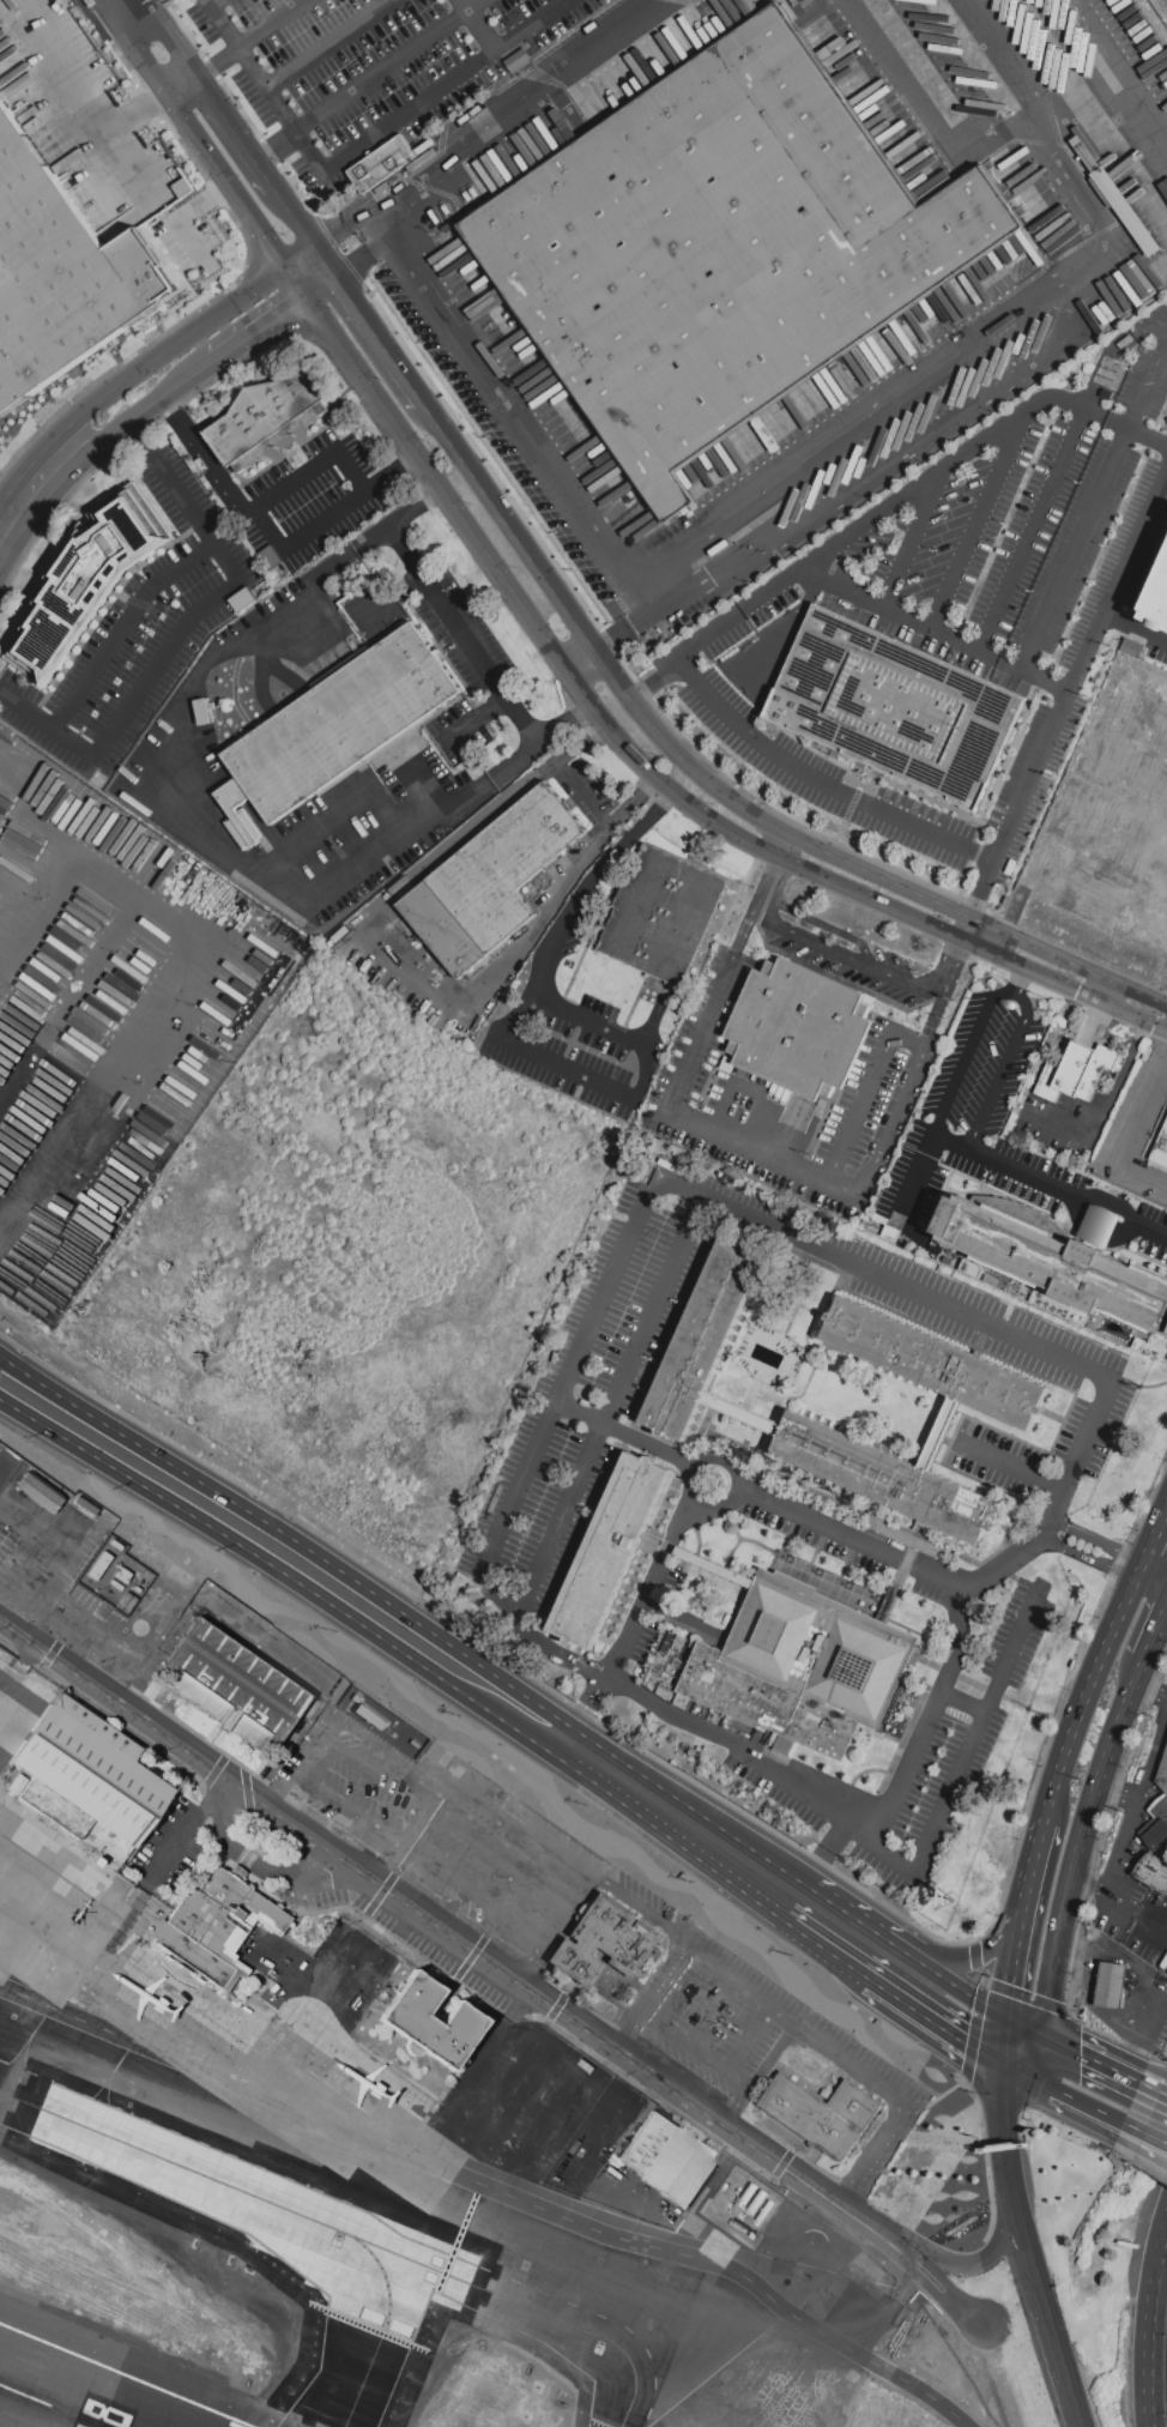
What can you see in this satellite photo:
road: (113, 4)
road: (222, 22)
road: (273, 24)
road: (480, 25)
road: (173, 38)
road: (331, 43)
road: (219, 62)
parking lot: (371, 65)
road: (393, 66)
road: (1120, 67)
road: (270, 89)
road: (74, 98)
road: (428, 101)
road: (150, 104)
road: (528, 105)
road: (936, 123)
parking lot: (95, 134)
road: (194, 135)
road: (242, 144)
road: (276, 146)
building: (382, 164)
road: (188, 212)
road: (302, 230)
road: (344, 231)
building: (718, 250)
road: (367, 264)
road: (327, 266)
building: (64, 273)
road: (324, 292)
road: (996, 332)
road: (265, 334)
road: (381, 343)
road: (177, 348)
road: (208, 417)
road: (141, 421)
building: (267, 428)
road: (138, 436)
road: (302, 440)
road: (278, 455)
road: (545, 455)
road: (314, 469)
road: (388, 473)
road: (929, 479)
road: (25, 495)
parking lot: (312, 500)
road: (1094, 503)
road: (980, 515)
road: (1030, 527)
road: (914, 538)
building: (84, 582)
road: (389, 597)
parking lot: (960, 597)
building: (1157, 599)
road: (911, 622)
road: (122, 627)
road: (787, 628)
parking lot: (138, 630)
road: (459, 632)
road: (1133, 633)
parking lot: (464, 638)
road: (176, 639)
road: (653, 677)
road: (1045, 683)
building: (896, 708)
road: (477, 722)
building: (340, 729)
road: (1132, 743)
road: (1087, 748)
road: (637, 759)
road: (34, 779)
road: (1123, 786)
road: (582, 792)
road: (722, 793)
parking lot: (1109, 817)
road: (205, 828)
road: (54, 837)
road: (1113, 838)
road: (1004, 841)
road: (790, 851)
building: (492, 880)
road: (984, 889)
road: (1100, 896)
road: (73, 898)
road: (1018, 900)
building: (664, 916)
road: (165, 926)
road: (827, 928)
road: (966, 929)
parking lot: (574, 932)
road: (999, 944)
parking lot: (126, 948)
road: (92, 952)
road: (407, 956)
road: (851, 959)
road: (546, 966)
parking lot: (858, 968)
road: (1022, 977)
road: (838, 979)
road: (1015, 988)
parking lot: (595, 1010)
road: (168, 1014)
building: (805, 1030)
road: (965, 1053)
road: (548, 1062)
parking lot: (569, 1064)
road: (69, 1069)
road: (1003, 1069)
road: (648, 1073)
building: (1077, 1073)
parking lot: (976, 1080)
road: (749, 1089)
road: (866, 1095)
road: (141, 1128)
road: (1129, 1129)
building: (1157, 1140)
road: (77, 1145)
road: (744, 1147)
parking lot: (62, 1172)
road: (912, 1173)
road: (1048, 1187)
building: (1058, 1264)
road: (621, 1268)
road: (913, 1288)
road: (654, 1309)
building: (703, 1336)
building: (935, 1365)
parking lot: (592, 1376)
road: (742, 1414)
road: (939, 1433)
road: (1086, 1437)
road: (653, 1441)
road: (1008, 1465)
road: (0, 1467)
road: (688, 1477)
building: (885, 1478)
building: (40, 1492)
road: (516, 1496)
road: (1, 1501)
building: (85, 1504)
road: (566, 1515)
road: (1163, 1526)
road: (68, 1534)
parking lot: (823, 1534)
road: (59, 1539)
road: (852, 1539)
road: (1099, 1541)
building: (115, 1544)
building: (609, 1551)
road: (1026, 1552)
road: (1151, 1554)
road: (1089, 1559)
building: (99, 1565)
building: (122, 1574)
road: (289, 1577)
road: (1154, 1581)
building: (116, 1583)
road: (648, 1584)
road: (24, 1593)
building: (122, 1600)
building: (128, 1605)
road: (404, 1613)
road: (40, 1624)
road: (960, 1641)
road: (551, 1648)
road: (120, 1658)
road: (1150, 1659)
building: (804, 1666)
building: (666, 1679)
building: (232, 1685)
road: (1090, 1697)
road: (589, 1698)
road: (962, 1699)
parking lot: (961, 1713)
road: (328, 1727)
road: (728, 1746)
road: (966, 1750)
building: (1162, 1773)
road: (373, 1774)
road: (902, 1777)
road: (1145, 1777)
building: (87, 1779)
road: (282, 1788)
road: (347, 1807)
building: (1160, 1807)
road: (185, 1823)
parking lot: (437, 1829)
building: (1155, 1833)
road: (428, 1841)
road: (678, 1842)
road: (536, 1843)
road: (1119, 1845)
road: (824, 1854)
road: (1039, 1859)
road: (389, 1861)
road: (1080, 1864)
road: (265, 1867)
building: (1154, 1872)
road: (1088, 1885)
road: (1132, 1909)
road: (503, 1913)
road: (853, 1918)
building: (213, 1924)
building: (610, 1943)
road: (828, 1949)
road: (695, 1950)
road: (980, 1954)
road: (1017, 1956)
road: (1080, 1964)
road: (500, 1967)
road: (1113, 1970)
road: (1078, 1975)
road: (944, 1979)
road: (1112, 1980)
road: (1144, 1980)
road: (1137, 1981)
building: (1111, 1985)
road: (1137, 1986)
road: (713, 2012)
road: (996, 2012)
traffic signals: (1008, 2018)
building: (431, 2022)
road: (936, 2023)
road: (1027, 2027)
traffic signals: (1047, 2036)
road: (1005, 2041)
road: (1026, 2051)
road: (1095, 2058)
road: (845, 2063)
road: (719, 2065)
traffic signals: (1004, 2065)
airport apron: (363, 2084)
road: (1155, 2085)
airport: (455, 2087)
road: (1066, 2094)
road: (740, 2095)
building: (822, 2114)
road: (1004, 2121)
road: (1148, 2133)
road: (1148, 2138)
building: (667, 2157)
road: (495, 2188)
airport taxiway: (320, 2223)
helipad: (711, 2223)
helipad: (746, 2232)
helipad: (781, 2240)
helipad: (817, 2248)
road: (982, 2265)
road: (1044, 2302)
airport taxiway: (385, 2328)
road: (1153, 2334)
airport taxiway: (633, 2397)
airport runway: (50, 2405)

